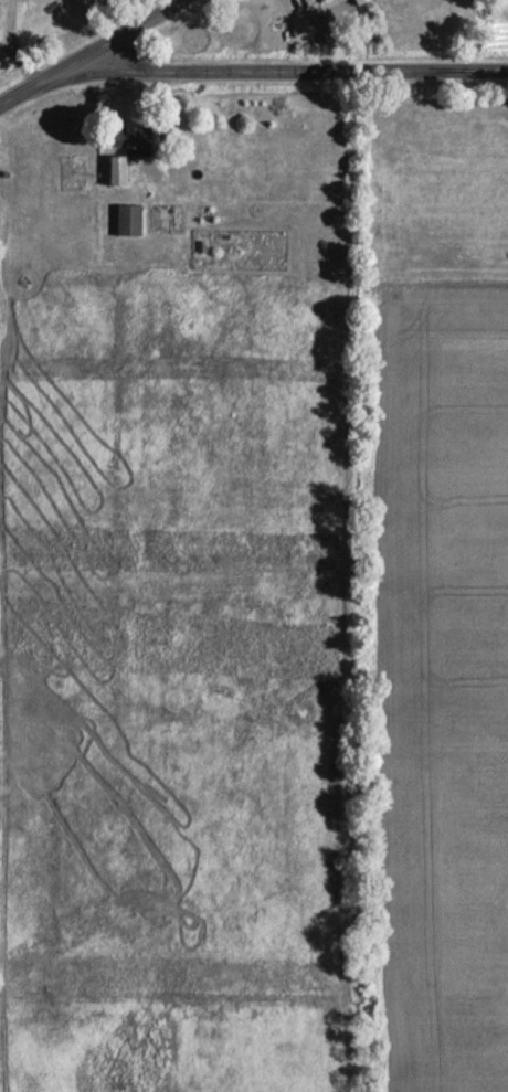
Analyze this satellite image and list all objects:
road: (92, 55)
road: (287, 68)
building: (126, 155)
building: (167, 222)
building: (129, 224)

